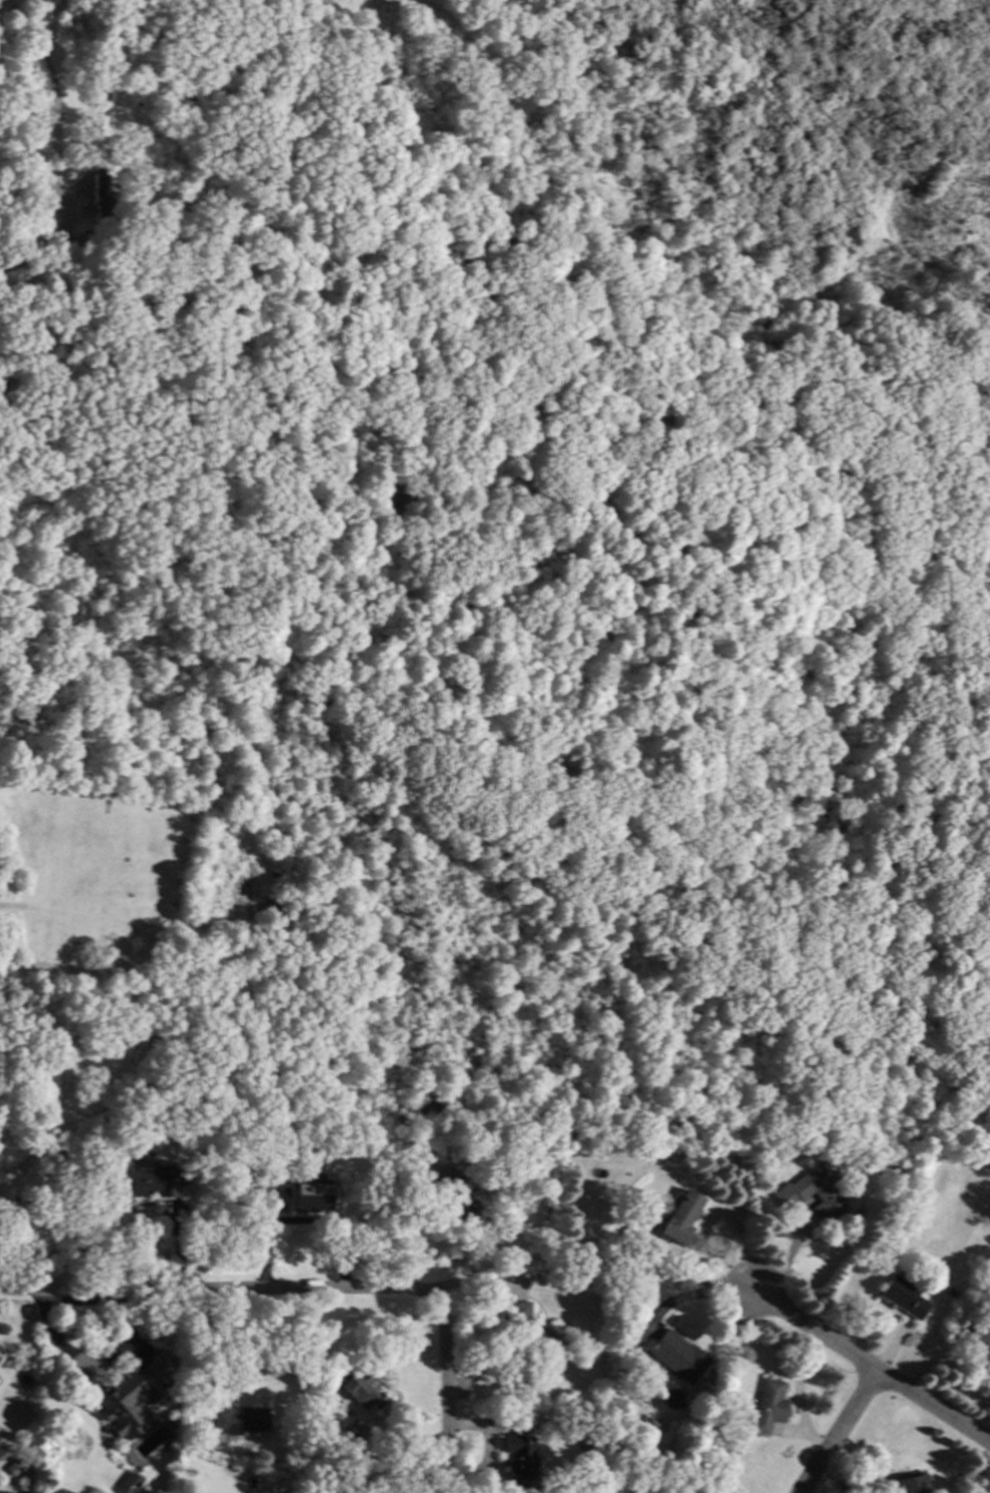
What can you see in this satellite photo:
road: (316, 5)
building: (105, 86)
road: (52, 101)
road: (297, 145)
road: (91, 150)
road: (452, 170)
building: (99, 196)
road: (60, 212)
road: (9, 263)
road: (208, 291)
road: (58, 308)
road: (622, 321)
road: (352, 364)
road: (446, 537)
park: (494, 570)
road: (295, 716)
road: (147, 723)
road: (337, 791)
road: (94, 792)
park: (125, 857)
road: (613, 872)
road: (229, 898)
road: (597, 1020)
road: (980, 1108)
building: (63, 1150)
building: (90, 1150)
building: (771, 1155)
building: (149, 1182)
building: (294, 1195)
building: (454, 1196)
building: (787, 1196)
building: (678, 1216)
road: (297, 1223)
building: (642, 1246)
building: (494, 1274)
road: (216, 1290)
building: (950, 1291)
building: (902, 1296)
road: (683, 1297)
building: (535, 1339)
building: (978, 1340)
road: (200, 1346)
building: (676, 1355)
road: (870, 1366)
building: (354, 1385)
road: (444, 1392)
building: (131, 1394)
building: (767, 1405)
building: (239, 1420)
building: (353, 1430)
road: (839, 1432)
building: (187, 1439)
building: (300, 1449)
building: (518, 1457)
building: (12, 1467)
building: (129, 1484)
building: (903, 1484)
building: (63, 1491)

